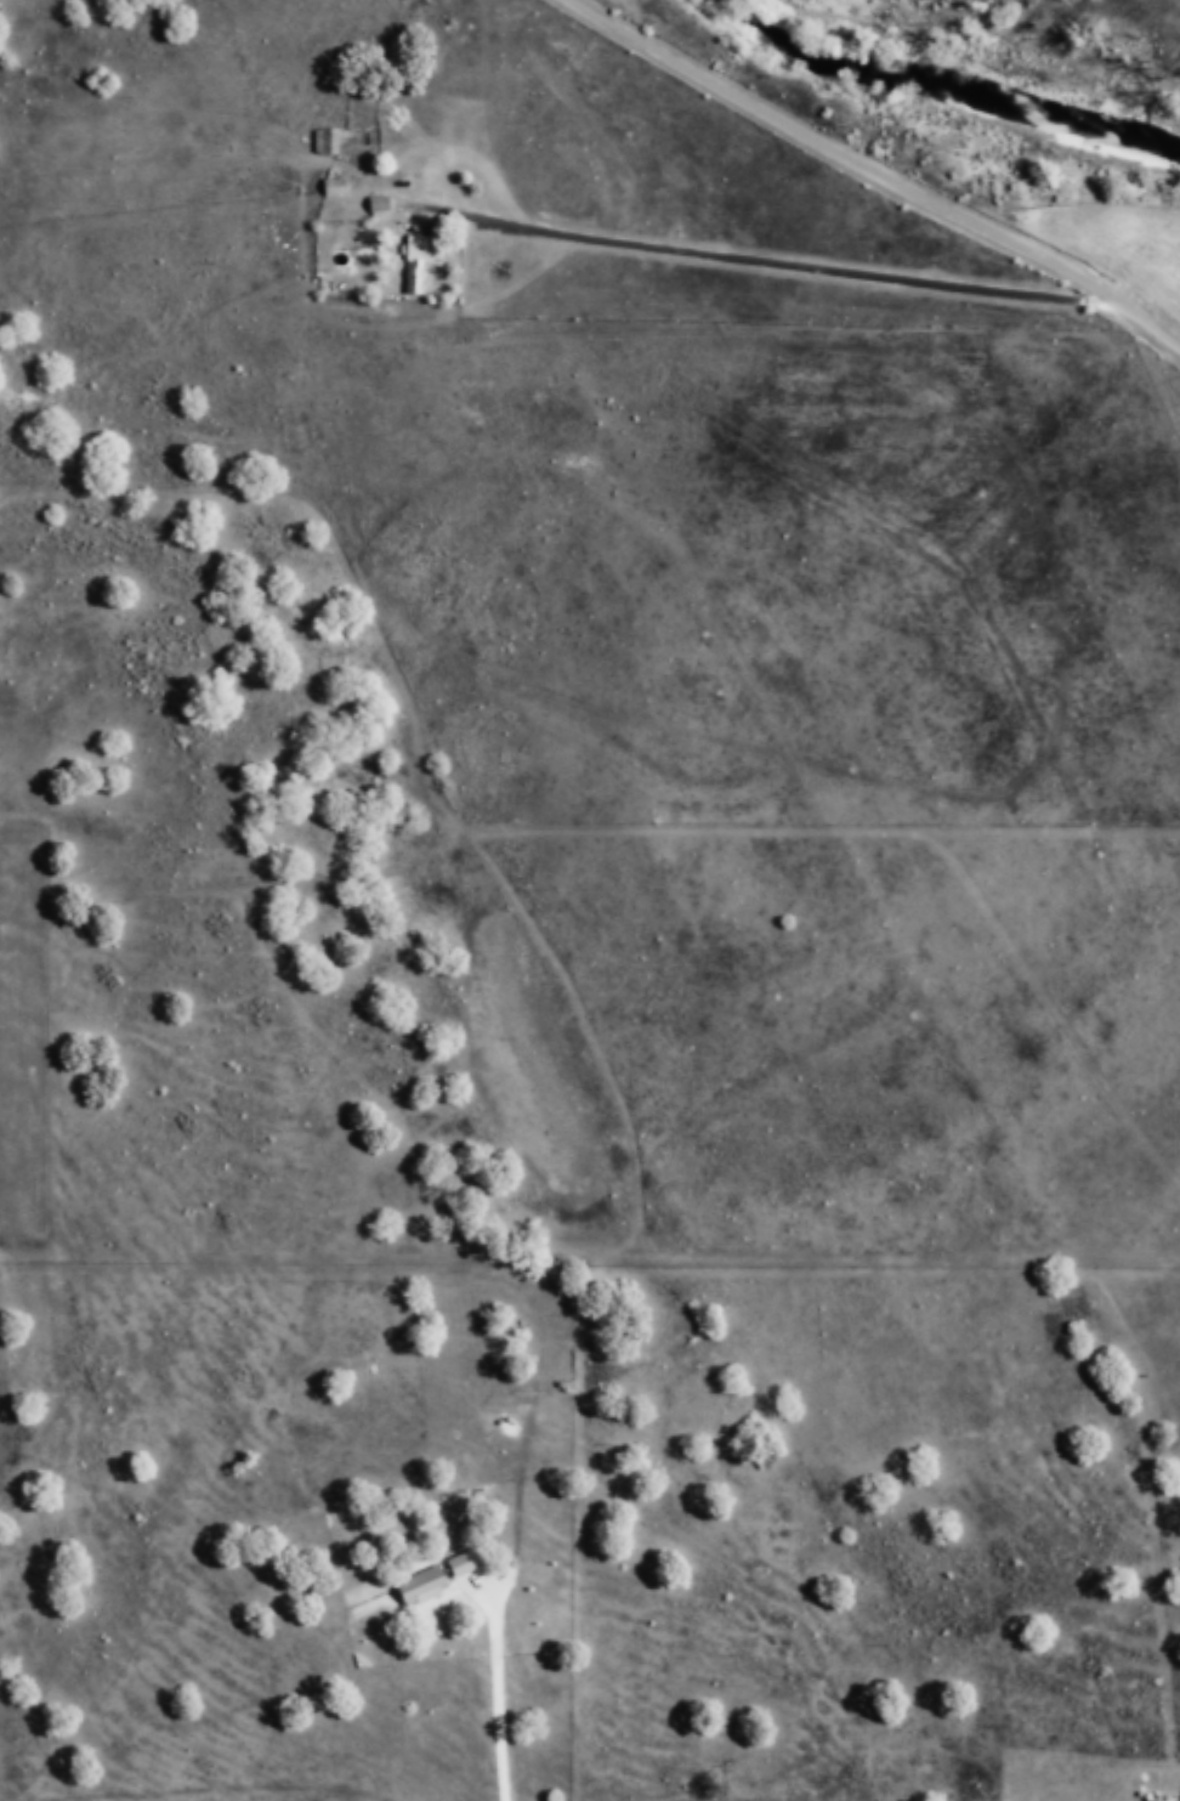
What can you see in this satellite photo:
river: (977, 83)
road: (880, 171)
building: (336, 187)
building: (381, 205)
building: (419, 262)
road: (773, 273)
building: (470, 1561)
building: (425, 1586)

